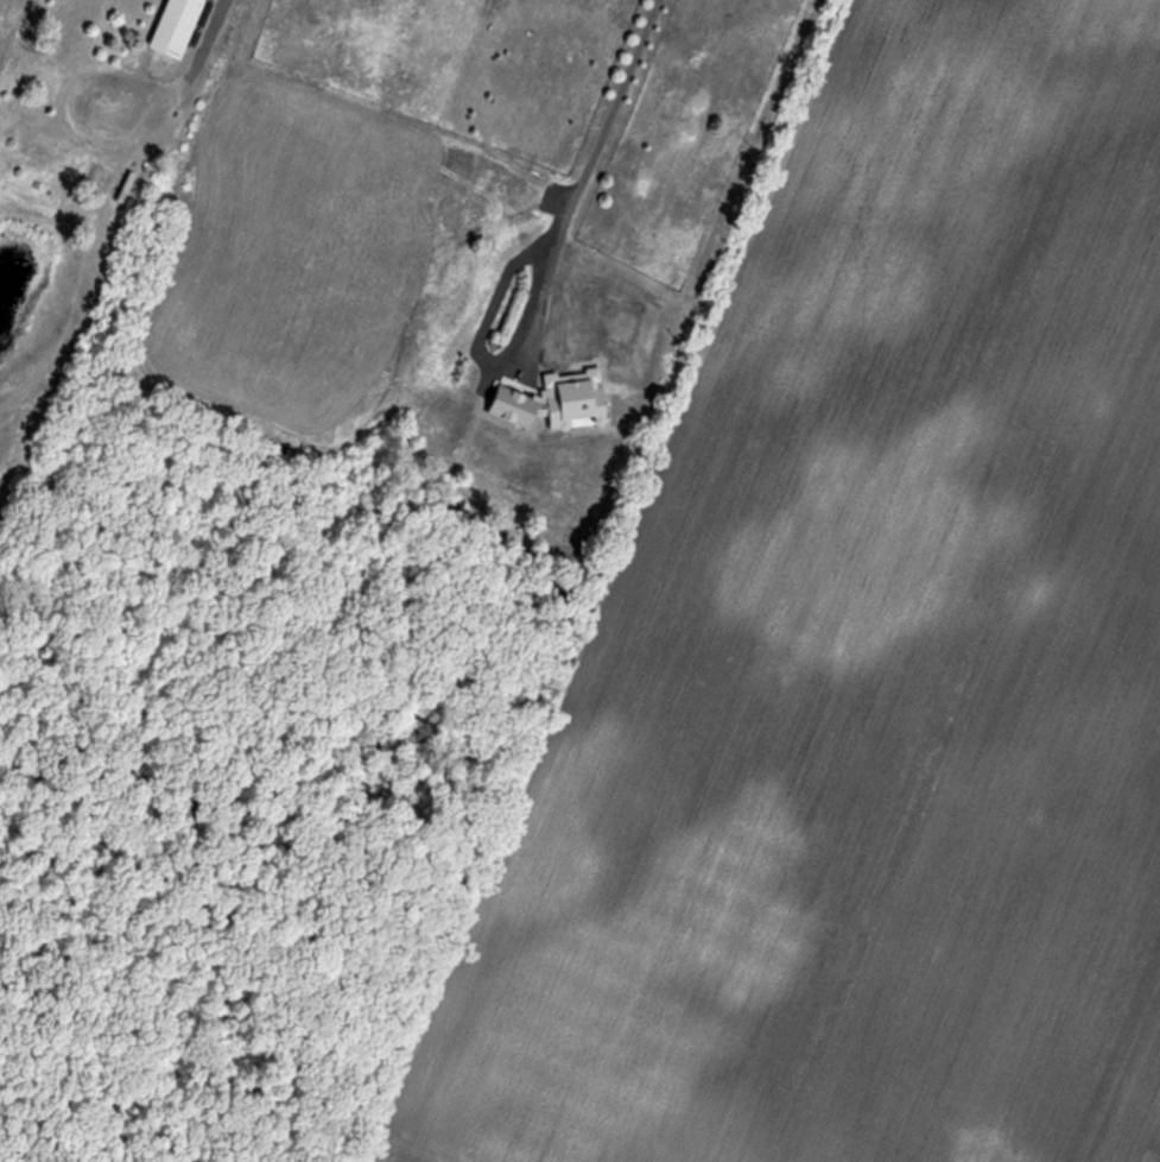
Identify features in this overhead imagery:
building: (175, 27)
crop: (12, 31)
road: (185, 80)
road: (601, 183)
crop: (876, 664)

